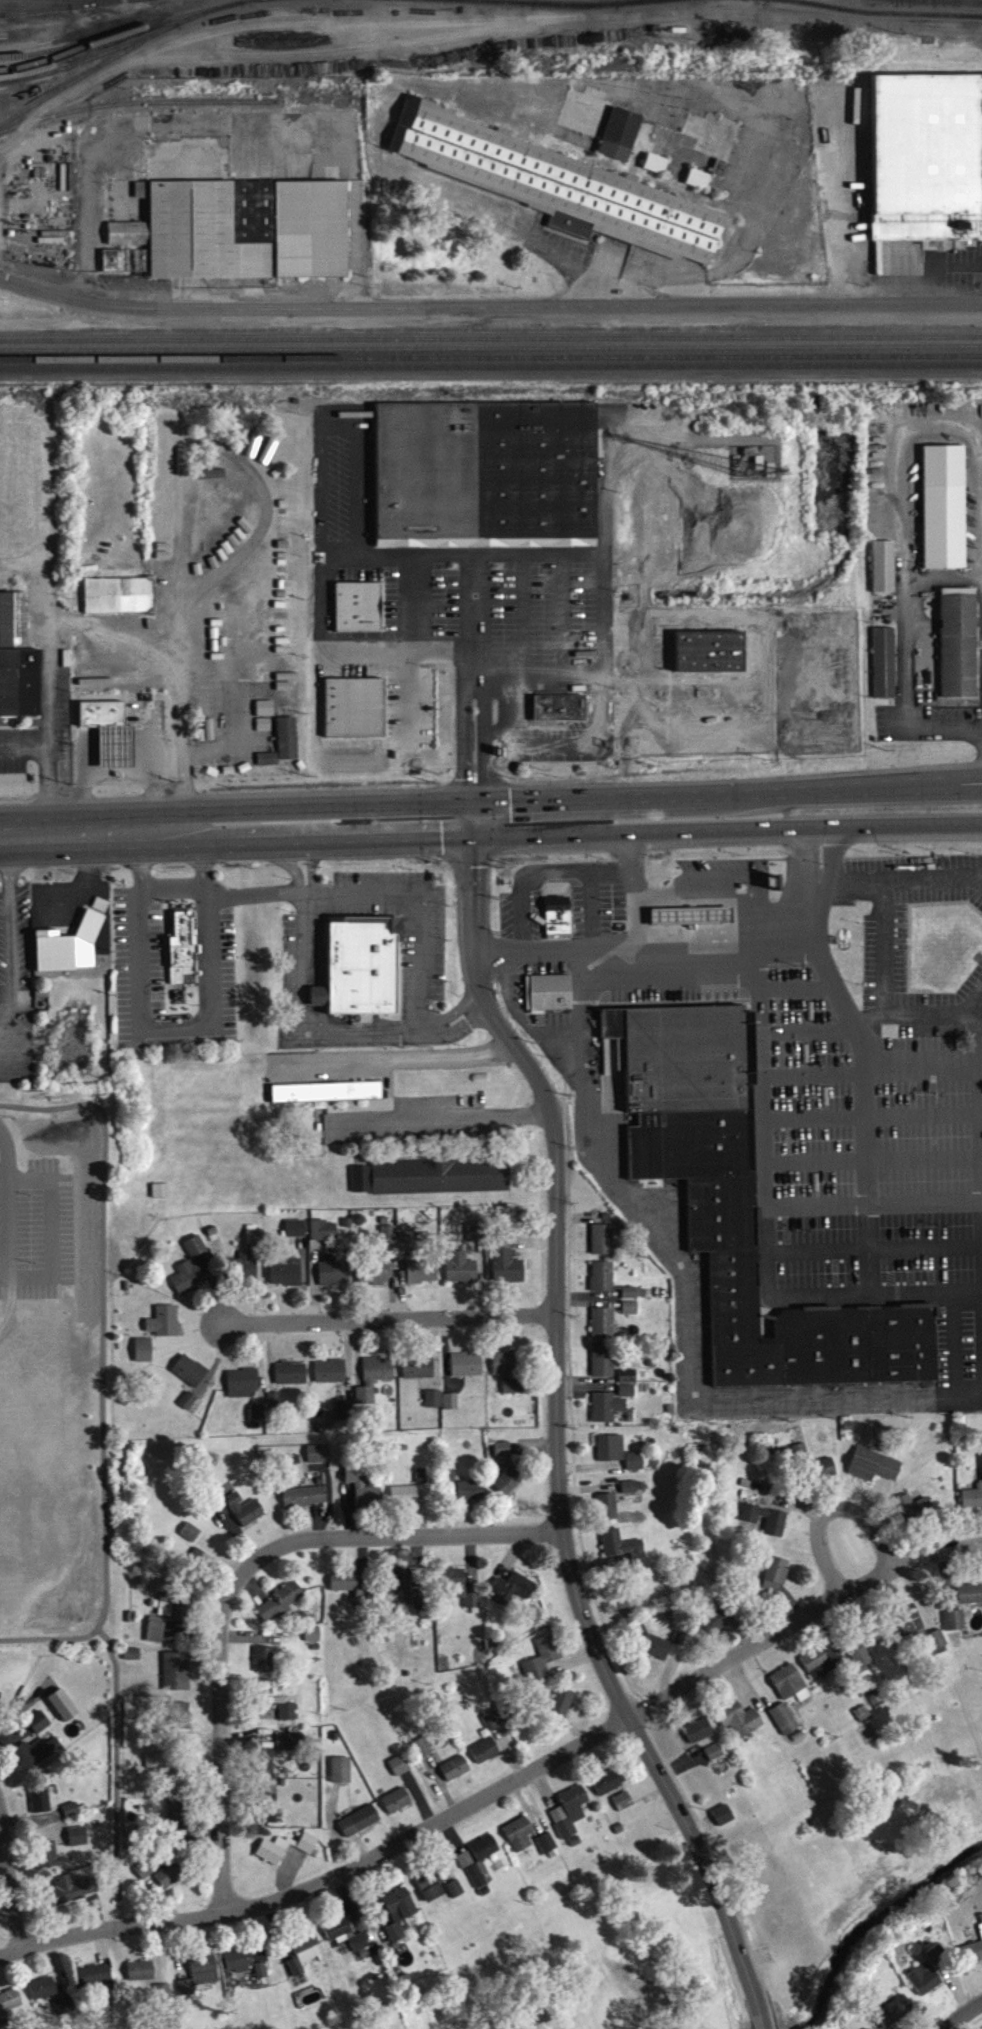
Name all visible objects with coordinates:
railway: (603, 0)
railway: (869, 5)
railway: (76, 6)
railway: (651, 6)
railway: (490, 8)
railway: (124, 10)
railway: (36, 16)
railway: (839, 16)
railway: (123, 39)
railway: (160, 42)
railway: (68, 62)
railway: (91, 66)
railway: (416, 68)
railway: (138, 111)
building: (621, 142)
building: (924, 155)
building: (656, 171)
building: (698, 186)
building: (556, 192)
building: (236, 238)
road: (488, 316)
railway: (491, 336)
railway: (491, 345)
railway: (491, 355)
railway: (491, 365)
road: (334, 428)
road: (644, 447)
road: (896, 453)
building: (482, 473)
building: (943, 515)
building: (885, 575)
road: (908, 582)
building: (119, 603)
building: (357, 604)
building: (232, 618)
road: (474, 620)
building: (245, 632)
building: (959, 650)
road: (590, 653)
building: (885, 670)
road: (407, 702)
building: (352, 706)
building: (561, 716)
building: (265, 723)
road: (904, 731)
building: (110, 740)
road: (46, 741)
road: (463, 743)
road: (484, 743)
road: (23, 745)
road: (583, 745)
building: (283, 751)
road: (953, 780)
road: (953, 788)
road: (562, 799)
traffic signals: (475, 801)
road: (907, 829)
road: (100, 830)
road: (516, 835)
traffic signals: (474, 837)
road: (202, 856)
road: (140, 858)
road: (832, 864)
road: (806, 866)
road: (606, 868)
road: (585, 873)
road: (474, 875)
road: (744, 879)
road: (907, 881)
road: (303, 890)
road: (633, 890)
road: (665, 895)
road: (420, 912)
building: (685, 915)
road: (518, 919)
road: (816, 922)
building: (558, 924)
building: (692, 924)
road: (11, 933)
road: (759, 933)
building: (179, 945)
road: (644, 947)
road: (885, 947)
building: (70, 954)
road: (510, 959)
building: (946, 962)
building: (355, 963)
road: (140, 969)
road: (510, 987)
building: (550, 1001)
road: (979, 1006)
road: (305, 1015)
road: (438, 1032)
road: (429, 1034)
road: (546, 1044)
road: (977, 1046)
road: (392, 1057)
road: (862, 1072)
building: (327, 1100)
road: (445, 1120)
parking lot: (865, 1144)
road: (9, 1166)
building: (441, 1185)
building: (362, 1187)
road: (6, 1192)
building: (161, 1199)
road: (926, 1206)
building: (742, 1207)
building: (296, 1236)
building: (324, 1238)
road: (13, 1239)
road: (54, 1239)
building: (475, 1241)
building: (255, 1246)
building: (603, 1248)
building: (406, 1249)
road: (980, 1252)
building: (196, 1254)
building: (507, 1272)
building: (247, 1274)
building: (461, 1277)
building: (334, 1280)
building: (422, 1280)
building: (378, 1281)
building: (286, 1282)
building: (602, 1285)
road: (6, 1286)
building: (188, 1286)
building: (632, 1301)
road: (685, 1307)
building: (630, 1316)
road: (389, 1317)
building: (165, 1329)
building: (603, 1331)
building: (144, 1358)
building: (603, 1370)
building: (507, 1371)
building: (467, 1373)
building: (418, 1376)
building: (379, 1377)
building: (190, 1378)
building: (330, 1379)
building: (291, 1381)
building: (628, 1384)
building: (243, 1391)
building: (512, 1394)
building: (627, 1399)
building: (365, 1404)
building: (433, 1407)
building: (274, 1408)
building: (188, 1409)
building: (451, 1409)
building: (607, 1415)
building: (345, 1418)
building: (258, 1420)
building: (611, 1456)
building: (503, 1457)
building: (319, 1462)
building: (634, 1469)
building: (874, 1473)
building: (450, 1483)
building: (421, 1484)
building: (508, 1490)
road: (556, 1491)
building: (363, 1495)
building: (629, 1495)
building: (470, 1498)
building: (404, 1503)
building: (305, 1505)
building: (972, 1505)
road: (829, 1510)
building: (239, 1515)
building: (606, 1515)
building: (913, 1516)
building: (765, 1527)
building: (191, 1541)
building: (623, 1555)
building: (202, 1569)
road: (235, 1578)
building: (776, 1582)
building: (351, 1593)
building: (406, 1593)
building: (457, 1595)
building: (512, 1597)
building: (970, 1602)
building: (281, 1609)
building: (629, 1613)
building: (176, 1615)
building: (717, 1628)
building: (955, 1628)
building: (908, 1630)
building: (156, 1637)
building: (313, 1643)
building: (937, 1648)
building: (657, 1654)
building: (133, 1662)
building: (862, 1665)
building: (264, 1667)
building: (542, 1667)
building: (822, 1668)
building: (177, 1679)
building: (790, 1692)
building: (0, 1705)
building: (275, 1709)
building: (562, 1709)
building: (63, 1713)
building: (180, 1724)
building: (739, 1727)
building: (784, 1727)
building: (39, 1730)
building: (699, 1739)
building: (287, 1750)
building: (422, 1756)
building: (485, 1759)
building: (37, 1760)
building: (714, 1760)
building: (153, 1769)
building: (265, 1770)
building: (399, 1773)
building: (455, 1777)
building: (341, 1778)
road: (503, 1786)
building: (176, 1787)
building: (607, 1791)
building: (41, 1808)
building: (397, 1809)
building: (623, 1809)
building: (267, 1812)
building: (71, 1817)
building: (569, 1818)
building: (723, 1823)
building: (359, 1829)
building: (519, 1842)
building: (78, 1844)
building: (546, 1851)
building: (285, 1856)
building: (50, 1864)
building: (465, 1868)
building: (480, 1869)
building: (144, 1877)
road: (12, 1879)
building: (170, 1883)
building: (432, 1894)
building: (456, 1897)
building: (70, 1898)
building: (400, 1913)
building: (980, 1937)
building: (394, 1940)
building: (345, 1942)
building: (303, 1959)
building: (971, 1961)
building: (937, 1963)
building: (238, 1969)
building: (140, 1979)
building: (261, 1979)
building: (200, 1982)
building: (93, 1984)
building: (924, 1987)
building: (42, 1996)
building: (10, 2009)
building: (64, 2013)
building: (895, 2018)
road: (968, 2018)
road: (761, 2021)

